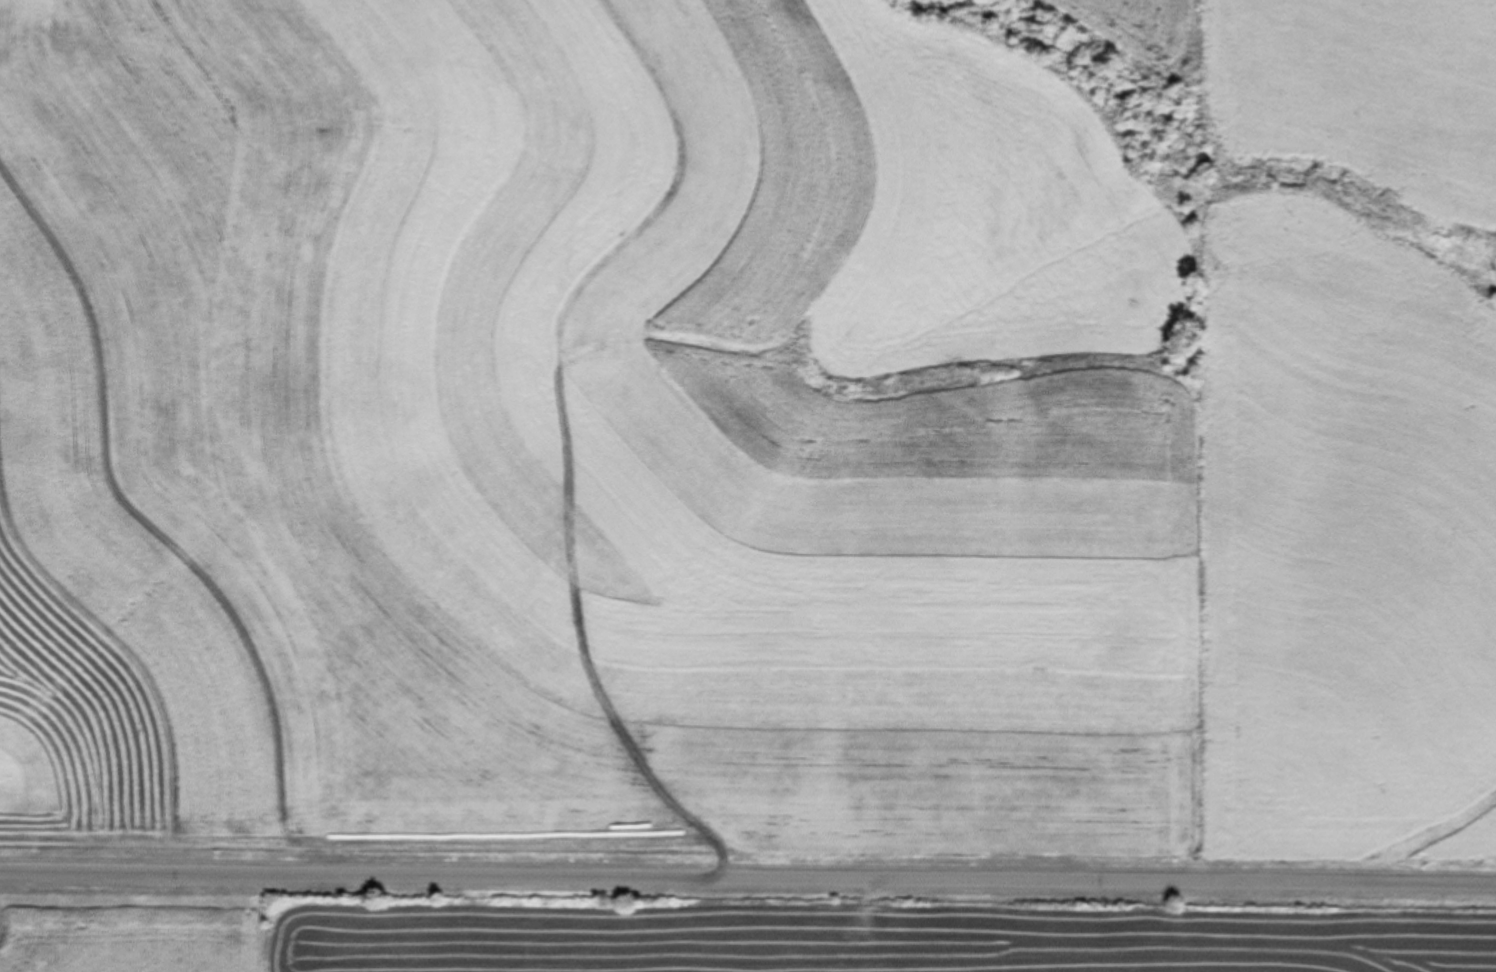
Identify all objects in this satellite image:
road: (748, 878)

